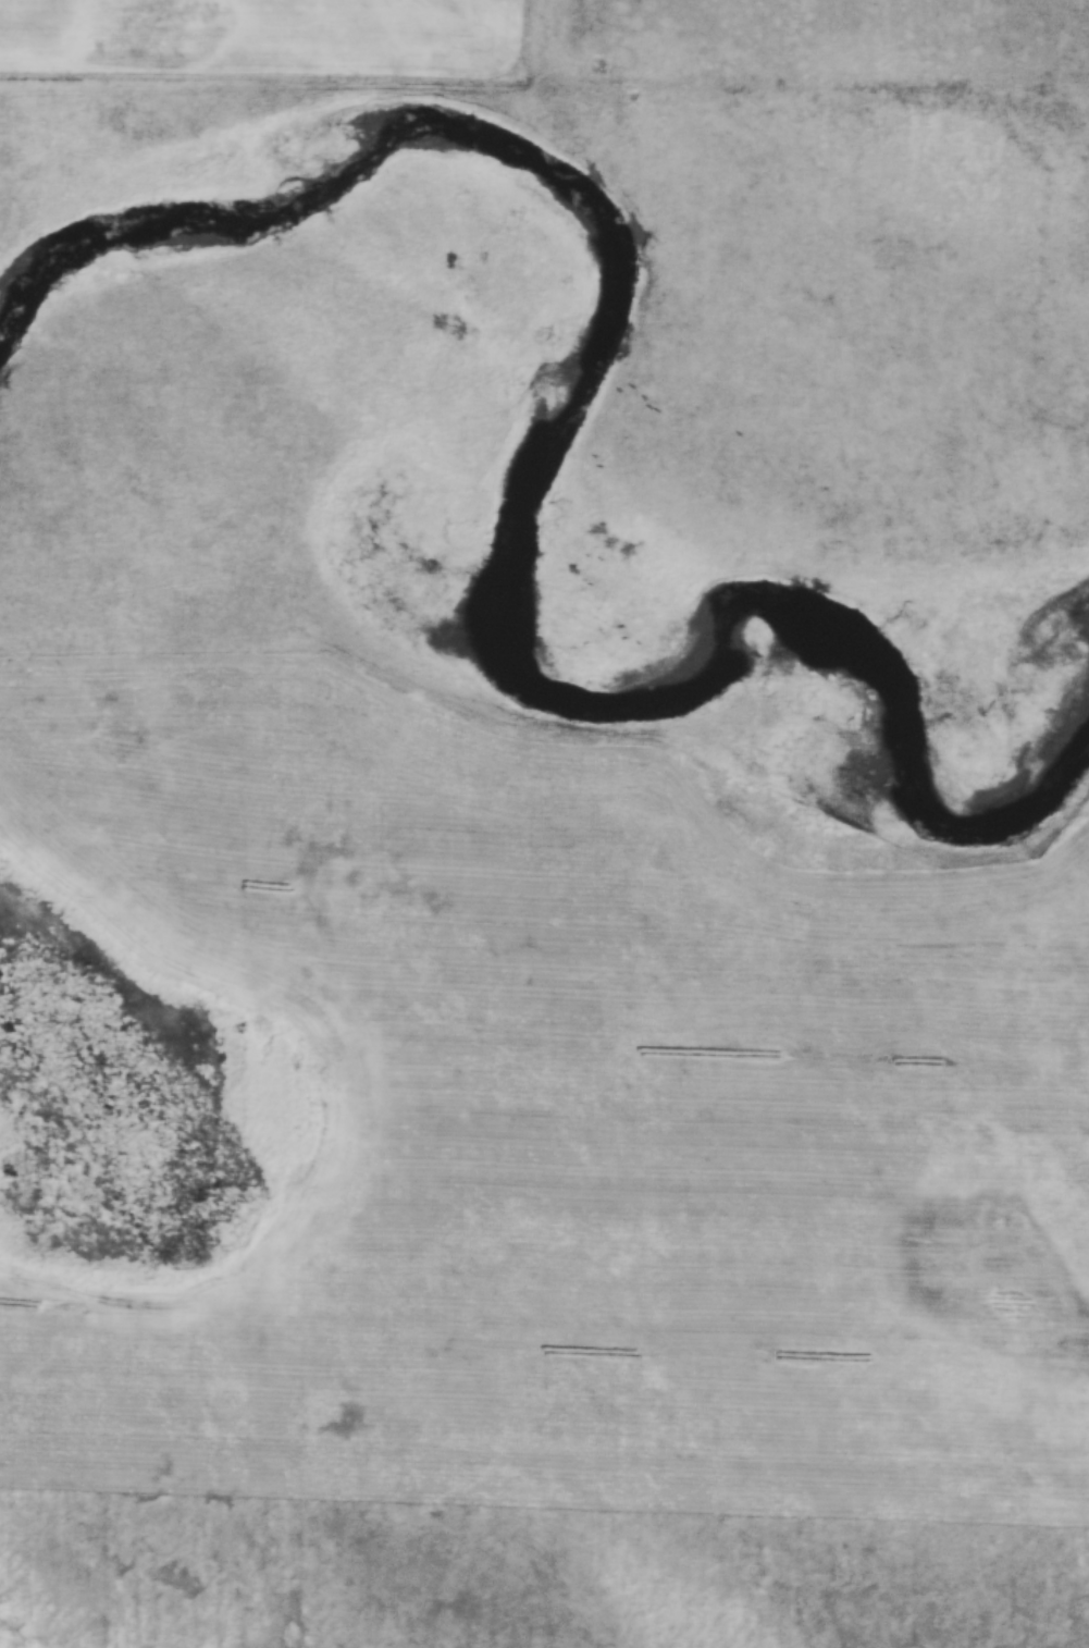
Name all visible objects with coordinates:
river: (518, 490)

